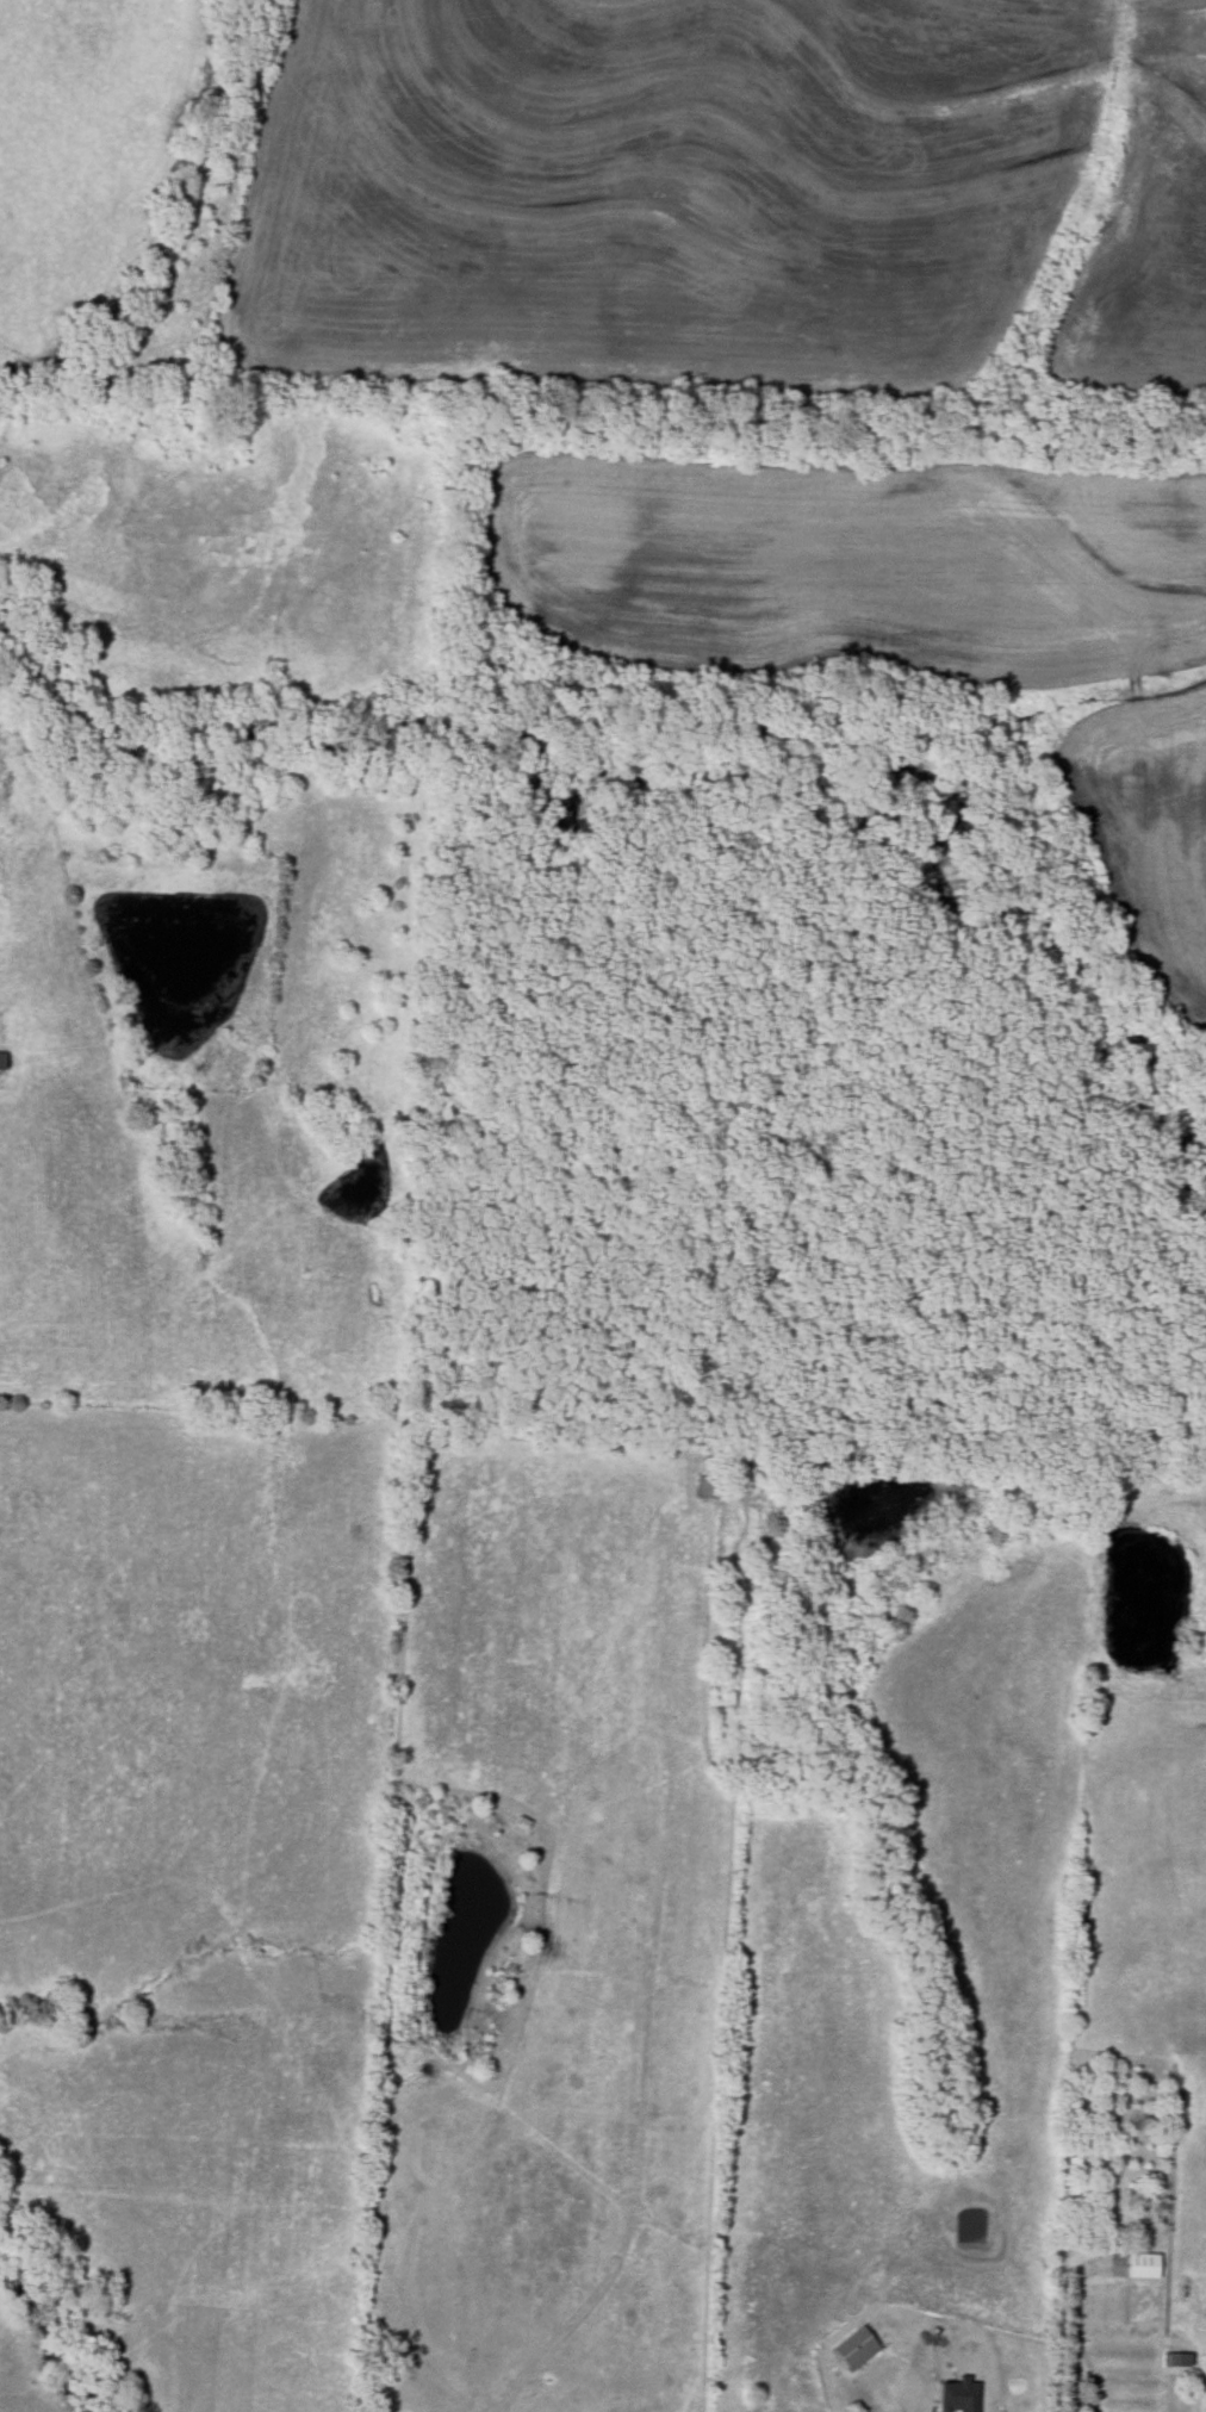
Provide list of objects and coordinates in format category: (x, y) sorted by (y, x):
crop: (728, 194)
crop: (912, 614)
building: (707, 1486)
building: (1142, 2265)
building: (854, 2348)

